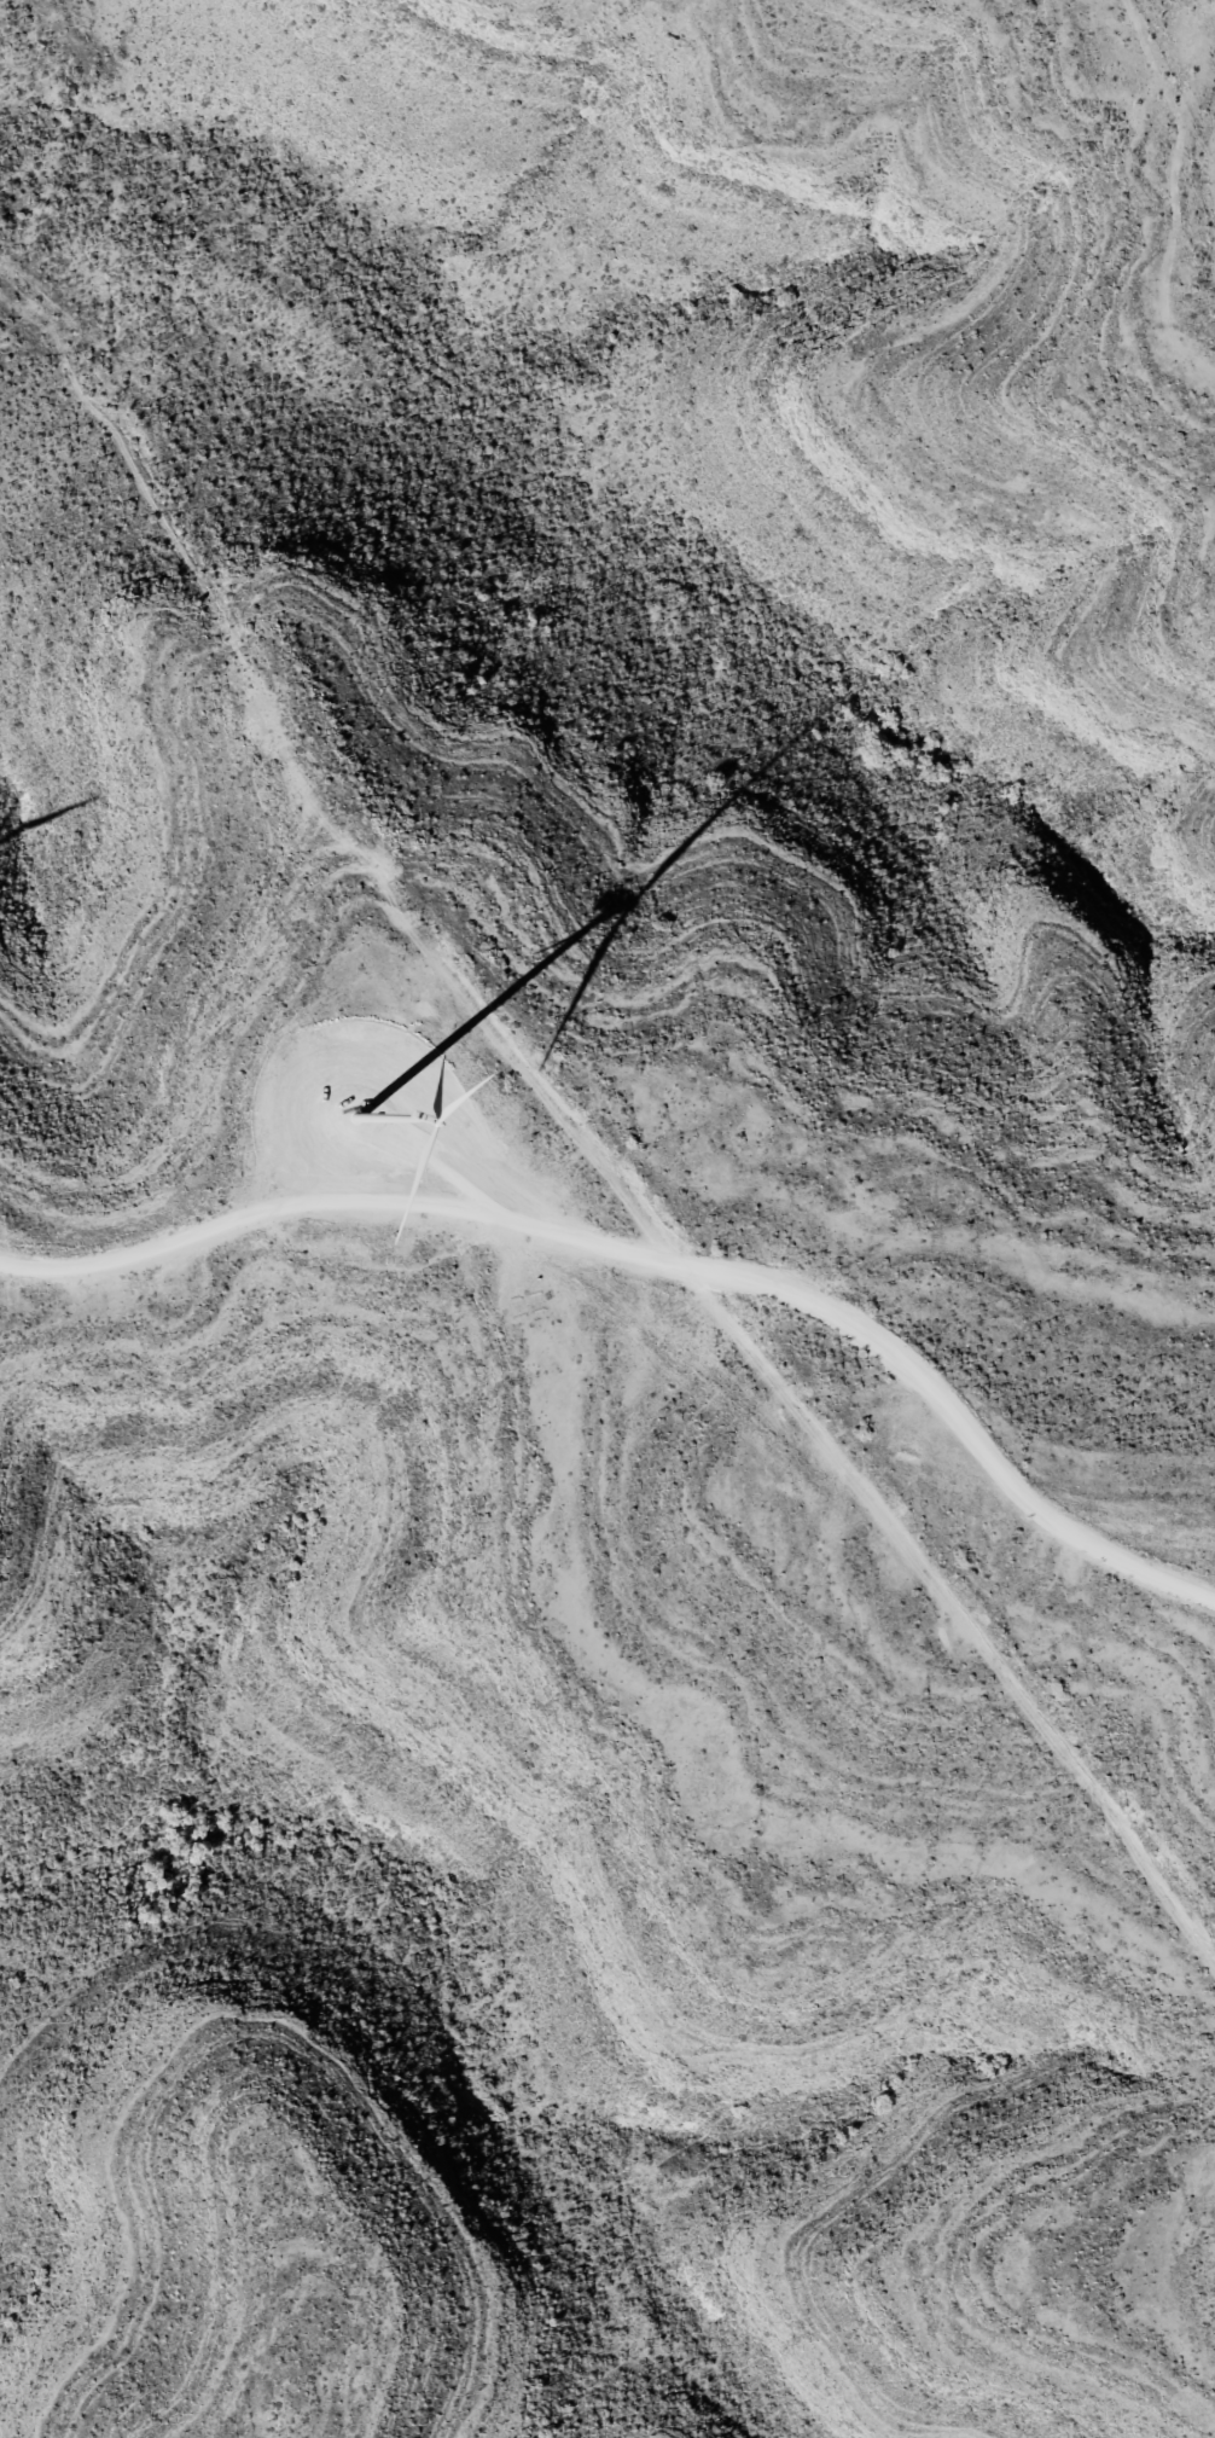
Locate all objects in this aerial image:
wind turbine: (356, 1120)

